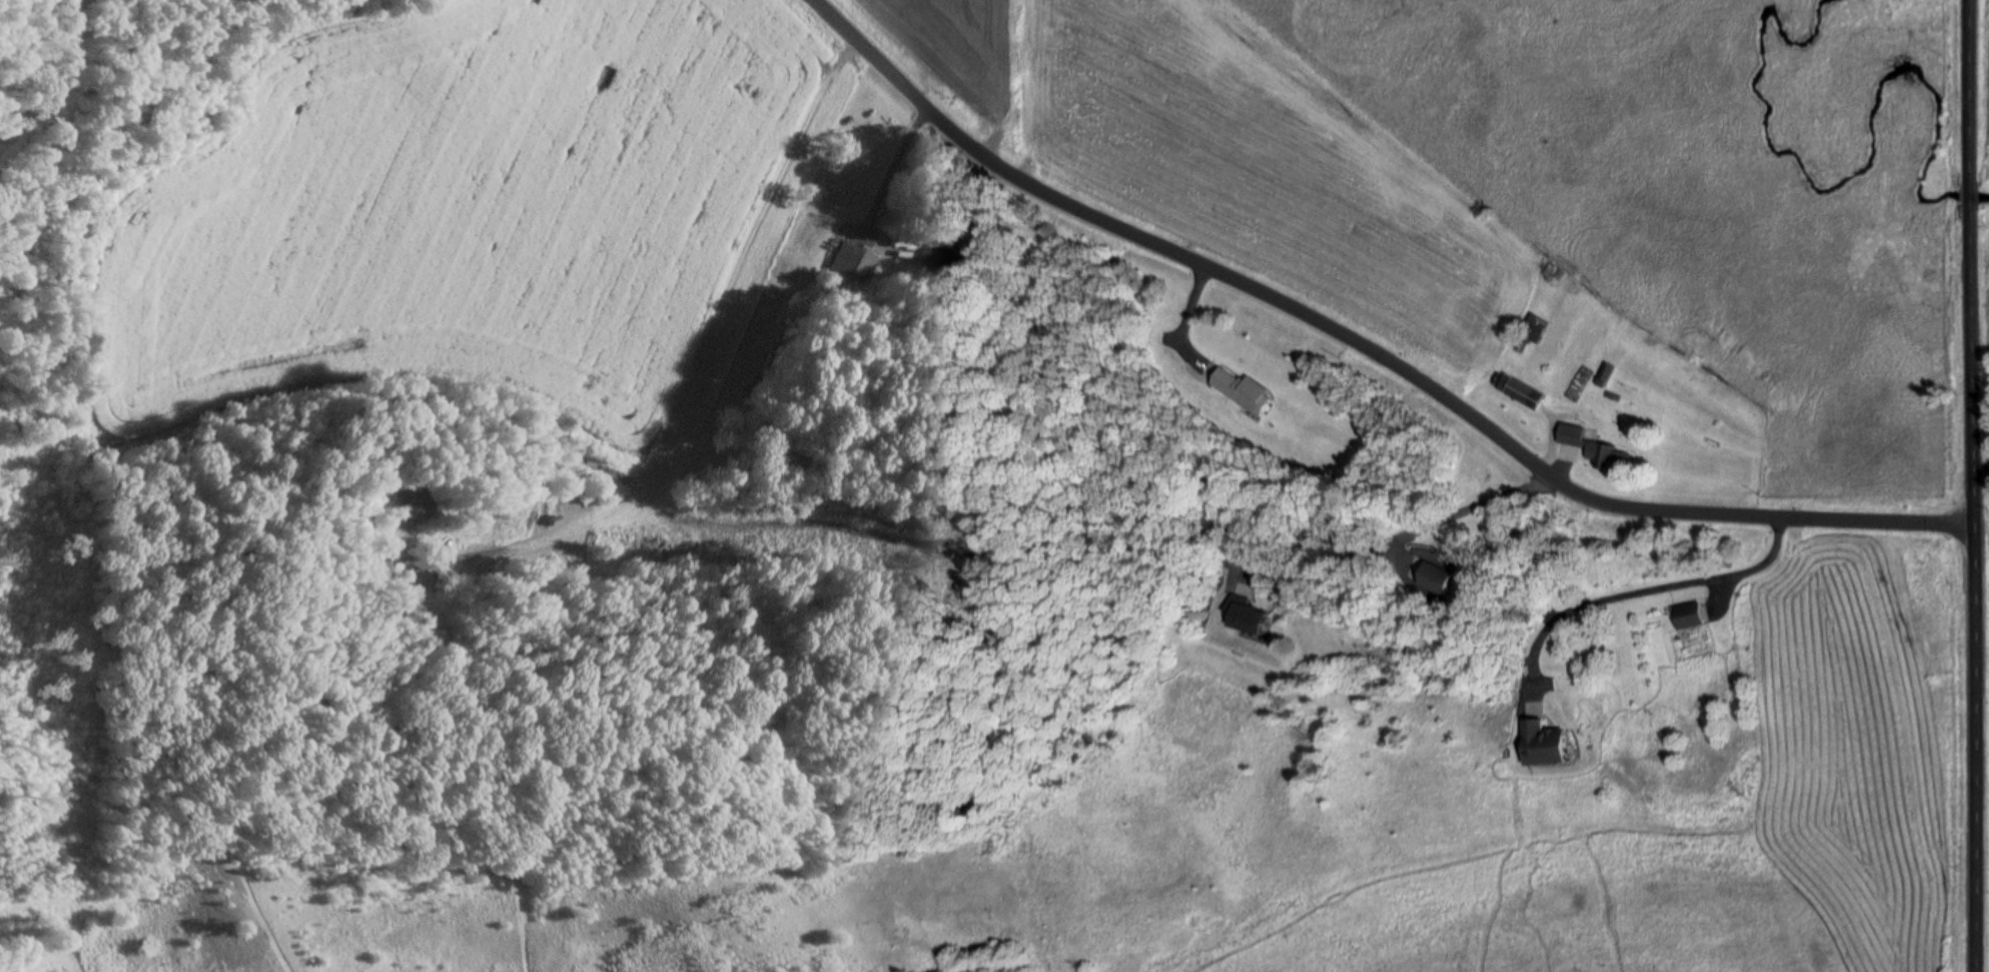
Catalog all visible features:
building: (943, 256)
building: (857, 262)
building: (1531, 334)
road: (1367, 348)
building: (1605, 376)
building: (1576, 388)
building: (1516, 390)
building: (1243, 392)
building: (1598, 450)
road: (1980, 473)
road: (1972, 485)
road: (1398, 537)
building: (1432, 580)
road: (1632, 594)
building: (1248, 616)
building: (1689, 616)
building: (1548, 745)

